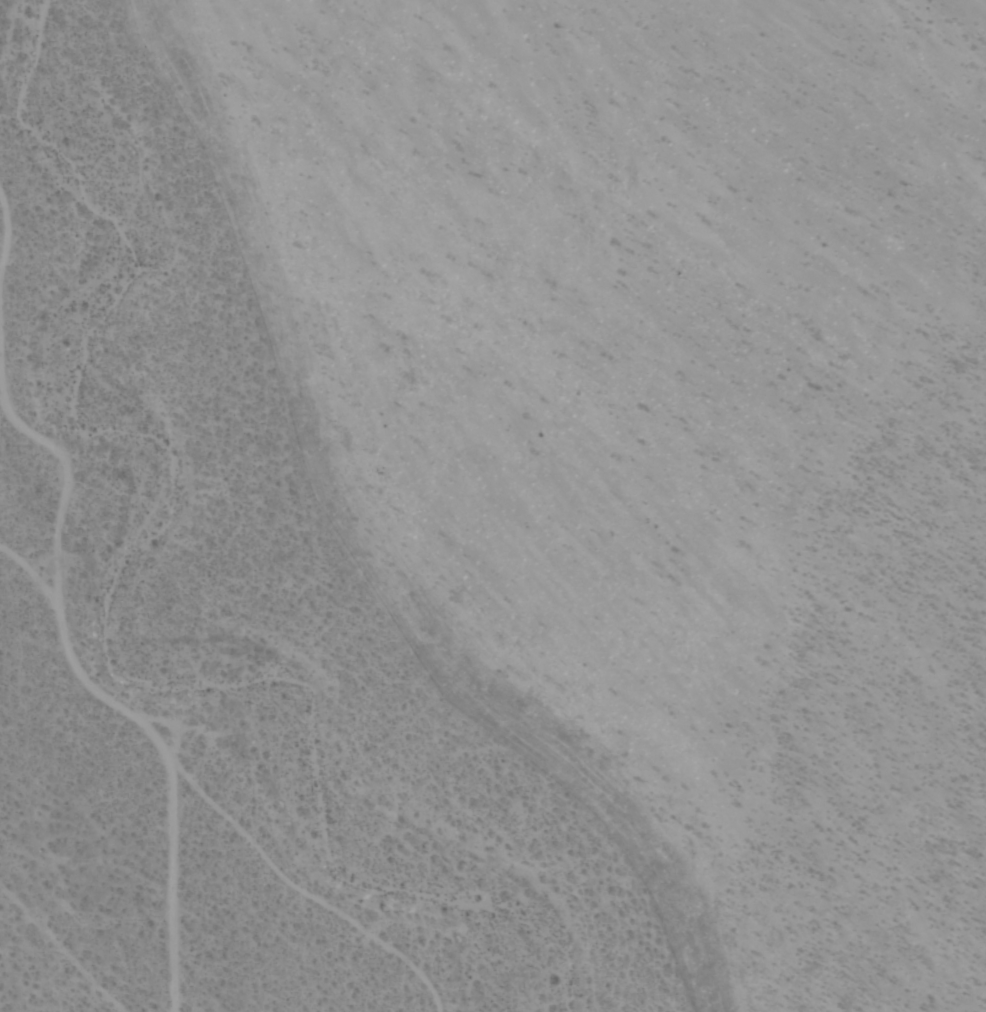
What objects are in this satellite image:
road: (52, 614)
road: (172, 829)

